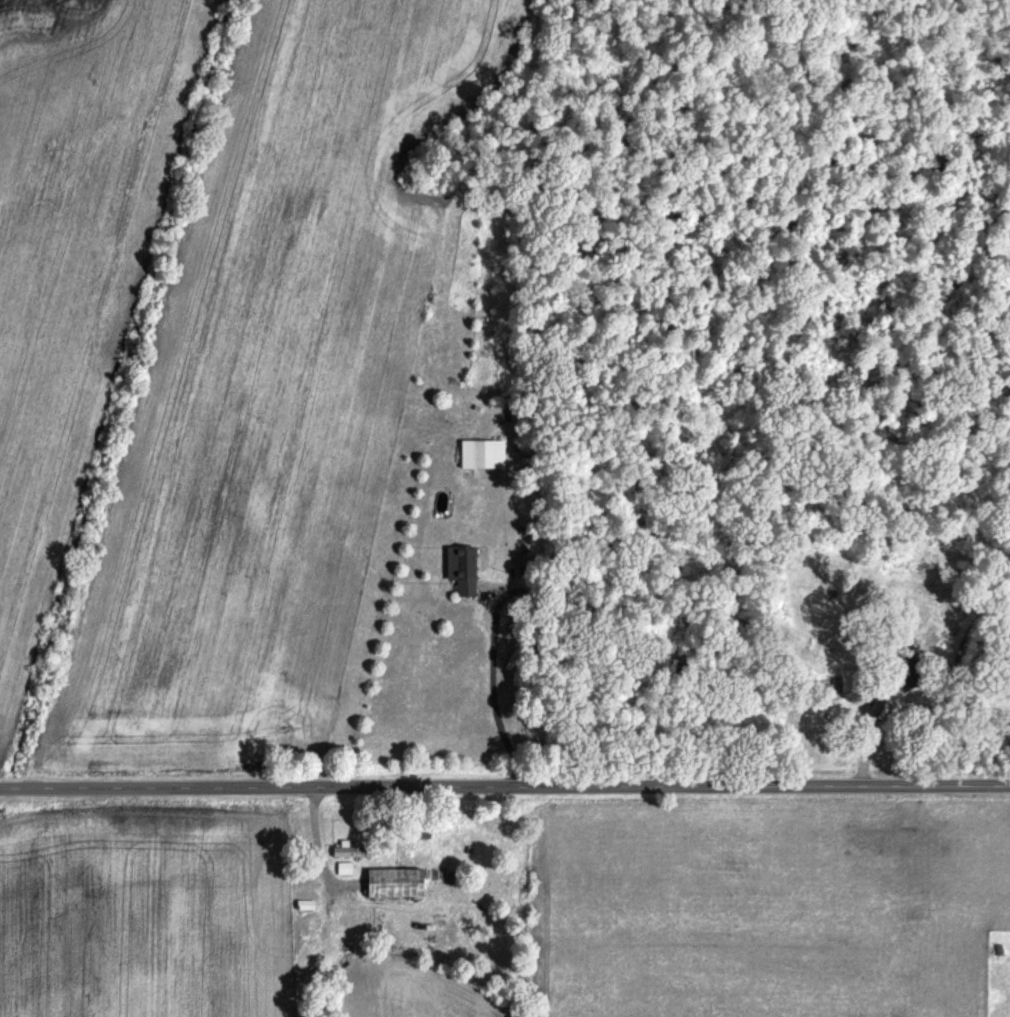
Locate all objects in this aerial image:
building: (488, 456)
building: (463, 573)
road: (489, 689)
road: (504, 783)
building: (352, 853)
building: (397, 884)

